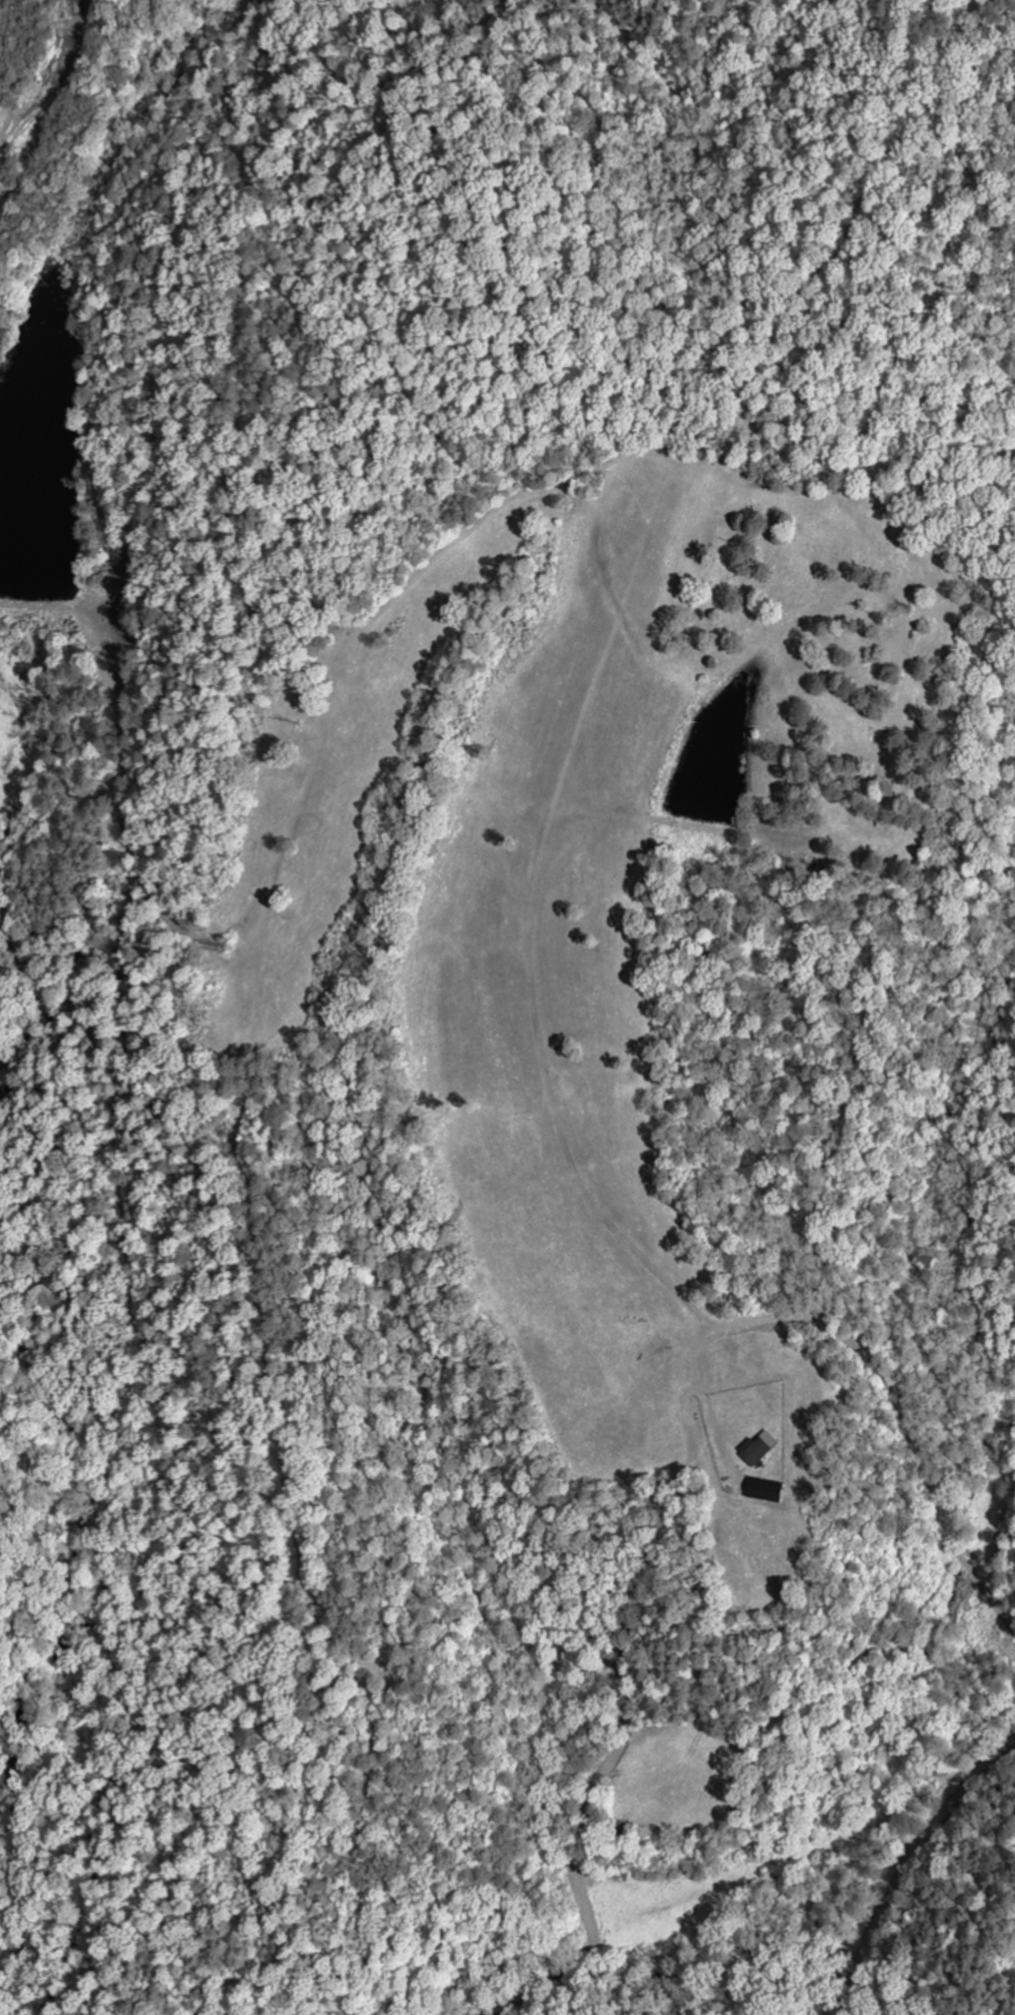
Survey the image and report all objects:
building: (757, 1450)
building: (762, 1491)
road: (910, 1862)
road: (747, 1938)

